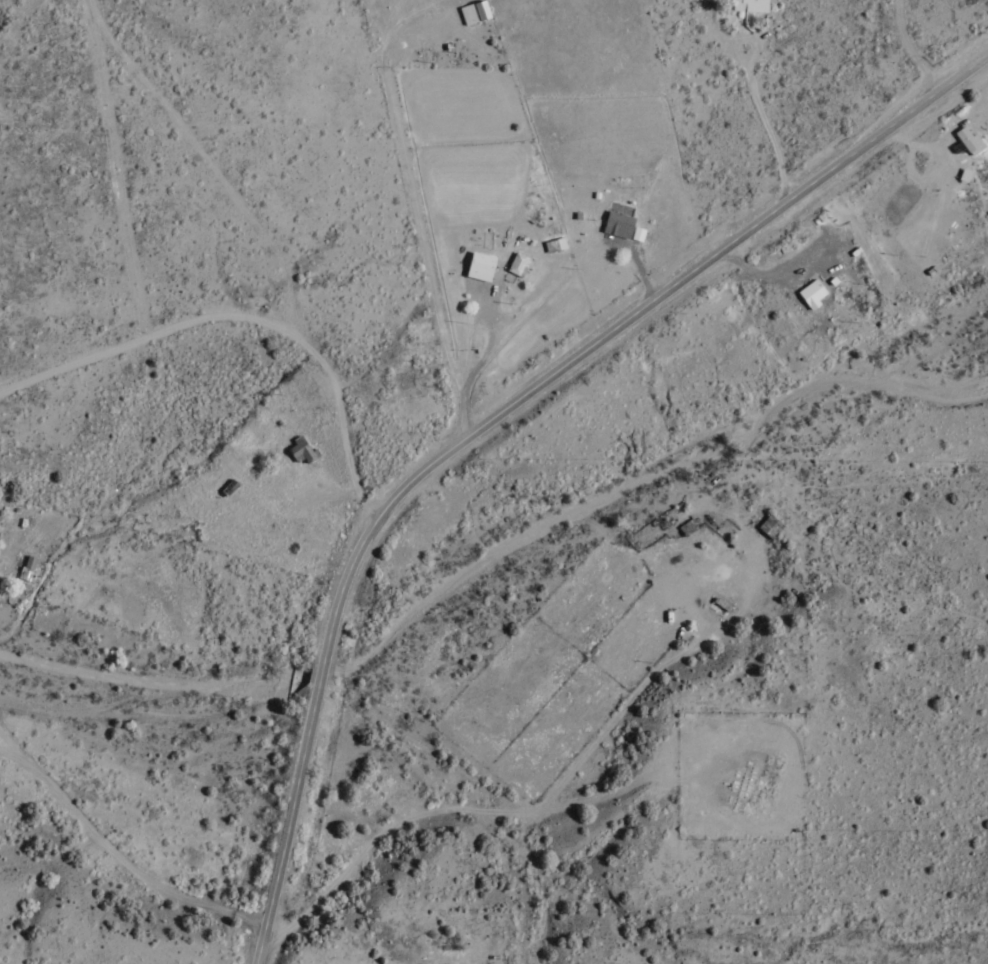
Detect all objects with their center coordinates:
building: (749, 6)
building: (473, 13)
building: (968, 141)
building: (617, 225)
building: (637, 234)
building: (554, 245)
building: (517, 265)
building: (479, 267)
building: (811, 294)
road: (233, 317)
road: (490, 419)
building: (300, 452)
building: (769, 527)
park: (729, 771)
road: (144, 792)

